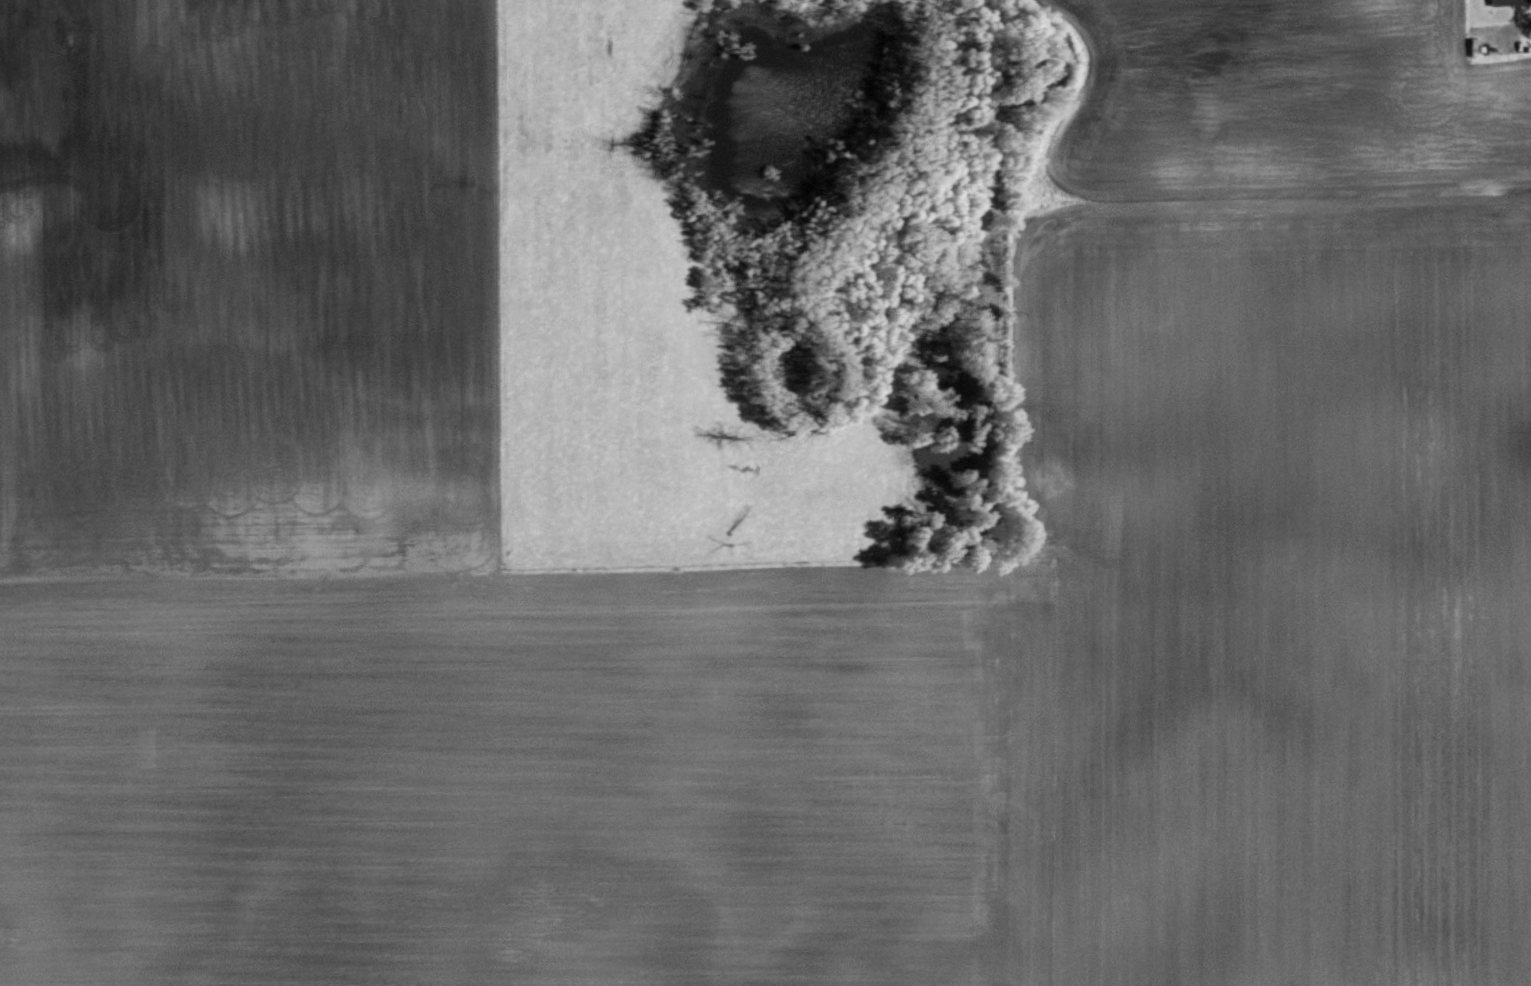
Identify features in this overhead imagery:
building: (1509, 2)
road: (1516, 26)

